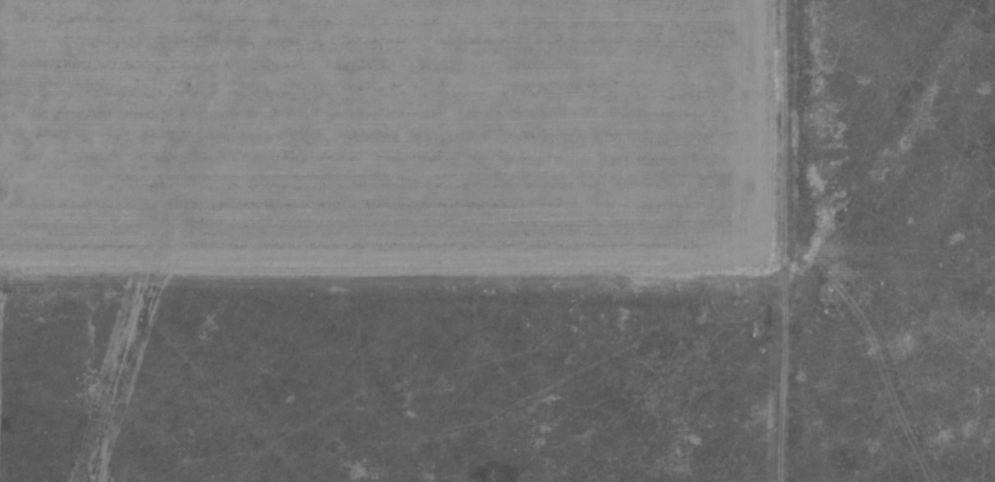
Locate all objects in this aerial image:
road: (837, 240)
road: (571, 283)

